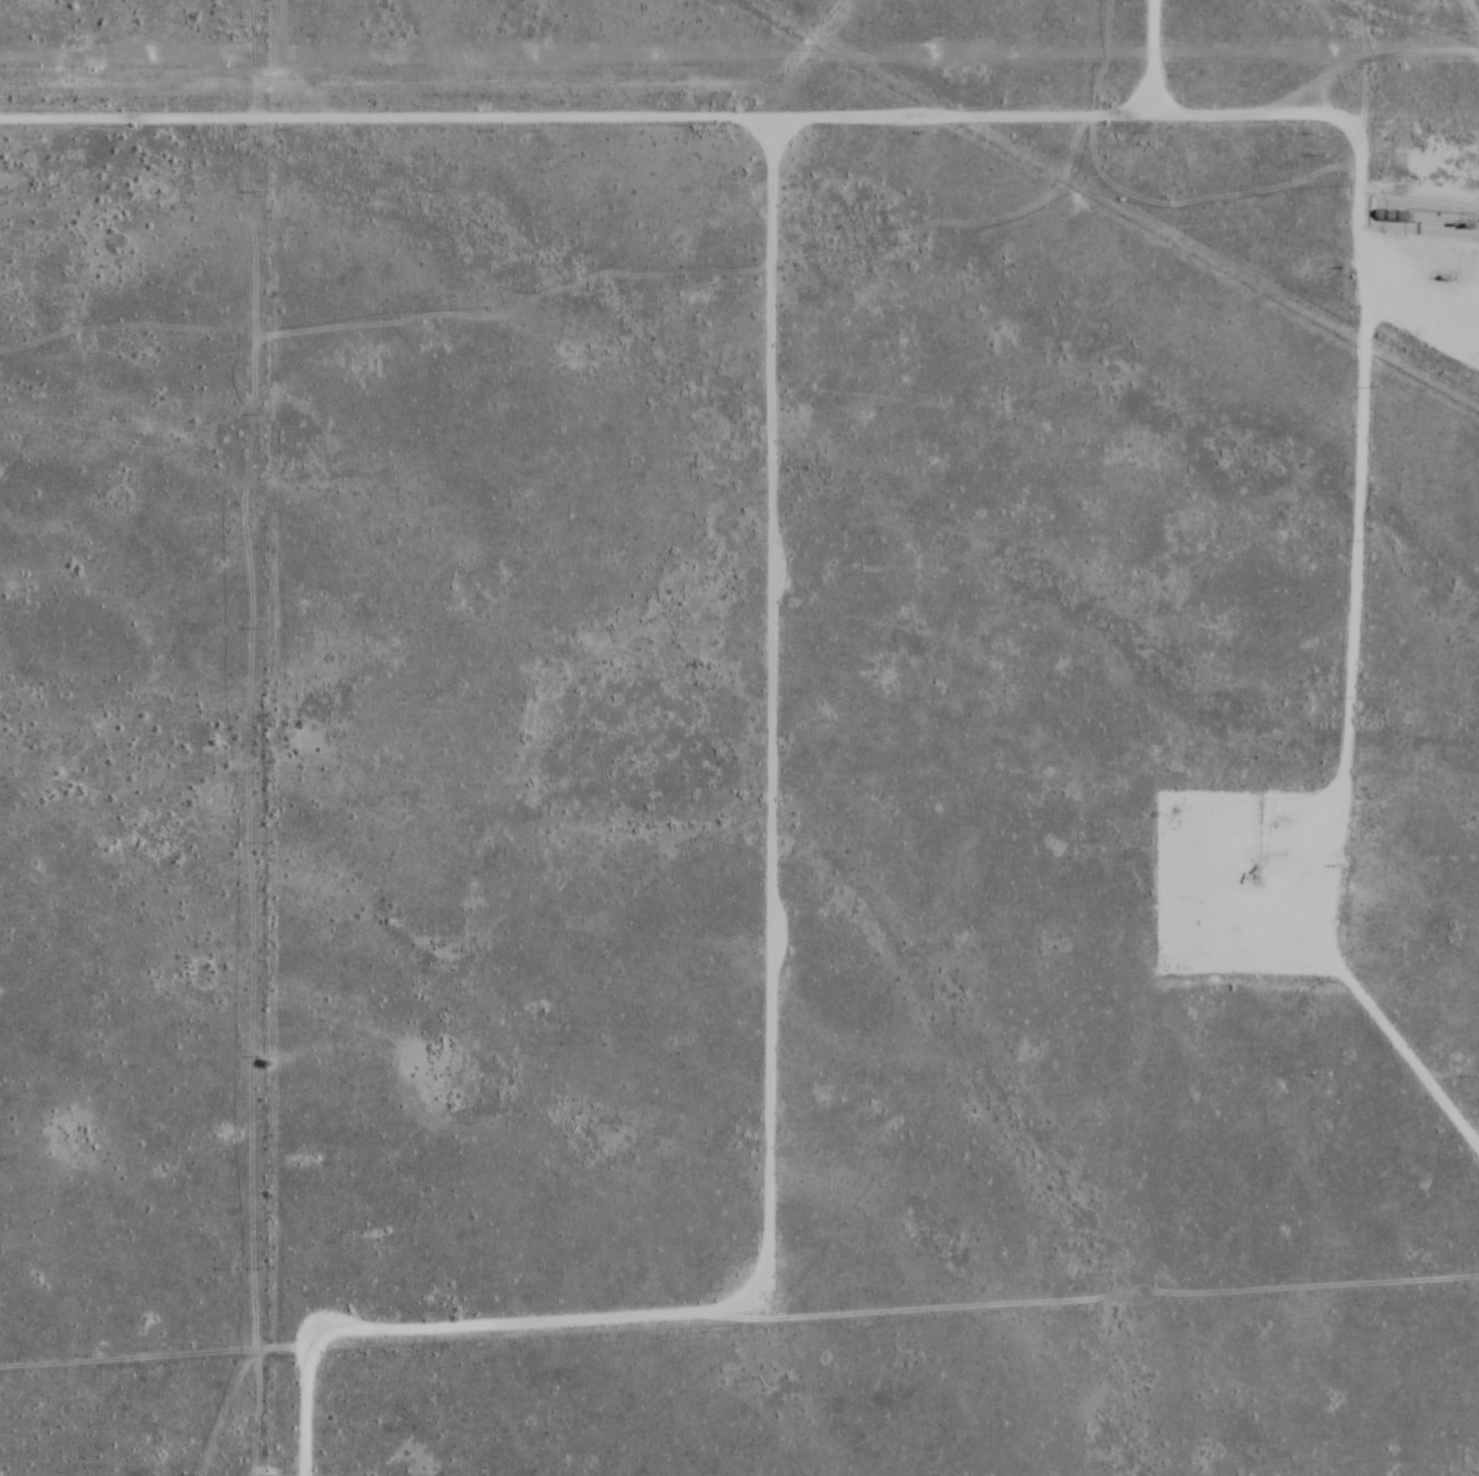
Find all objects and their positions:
power tower: (524, 51)
power tower: (1336, 51)
power tower: (147, 53)
power tower: (932, 53)
road: (170, 713)

